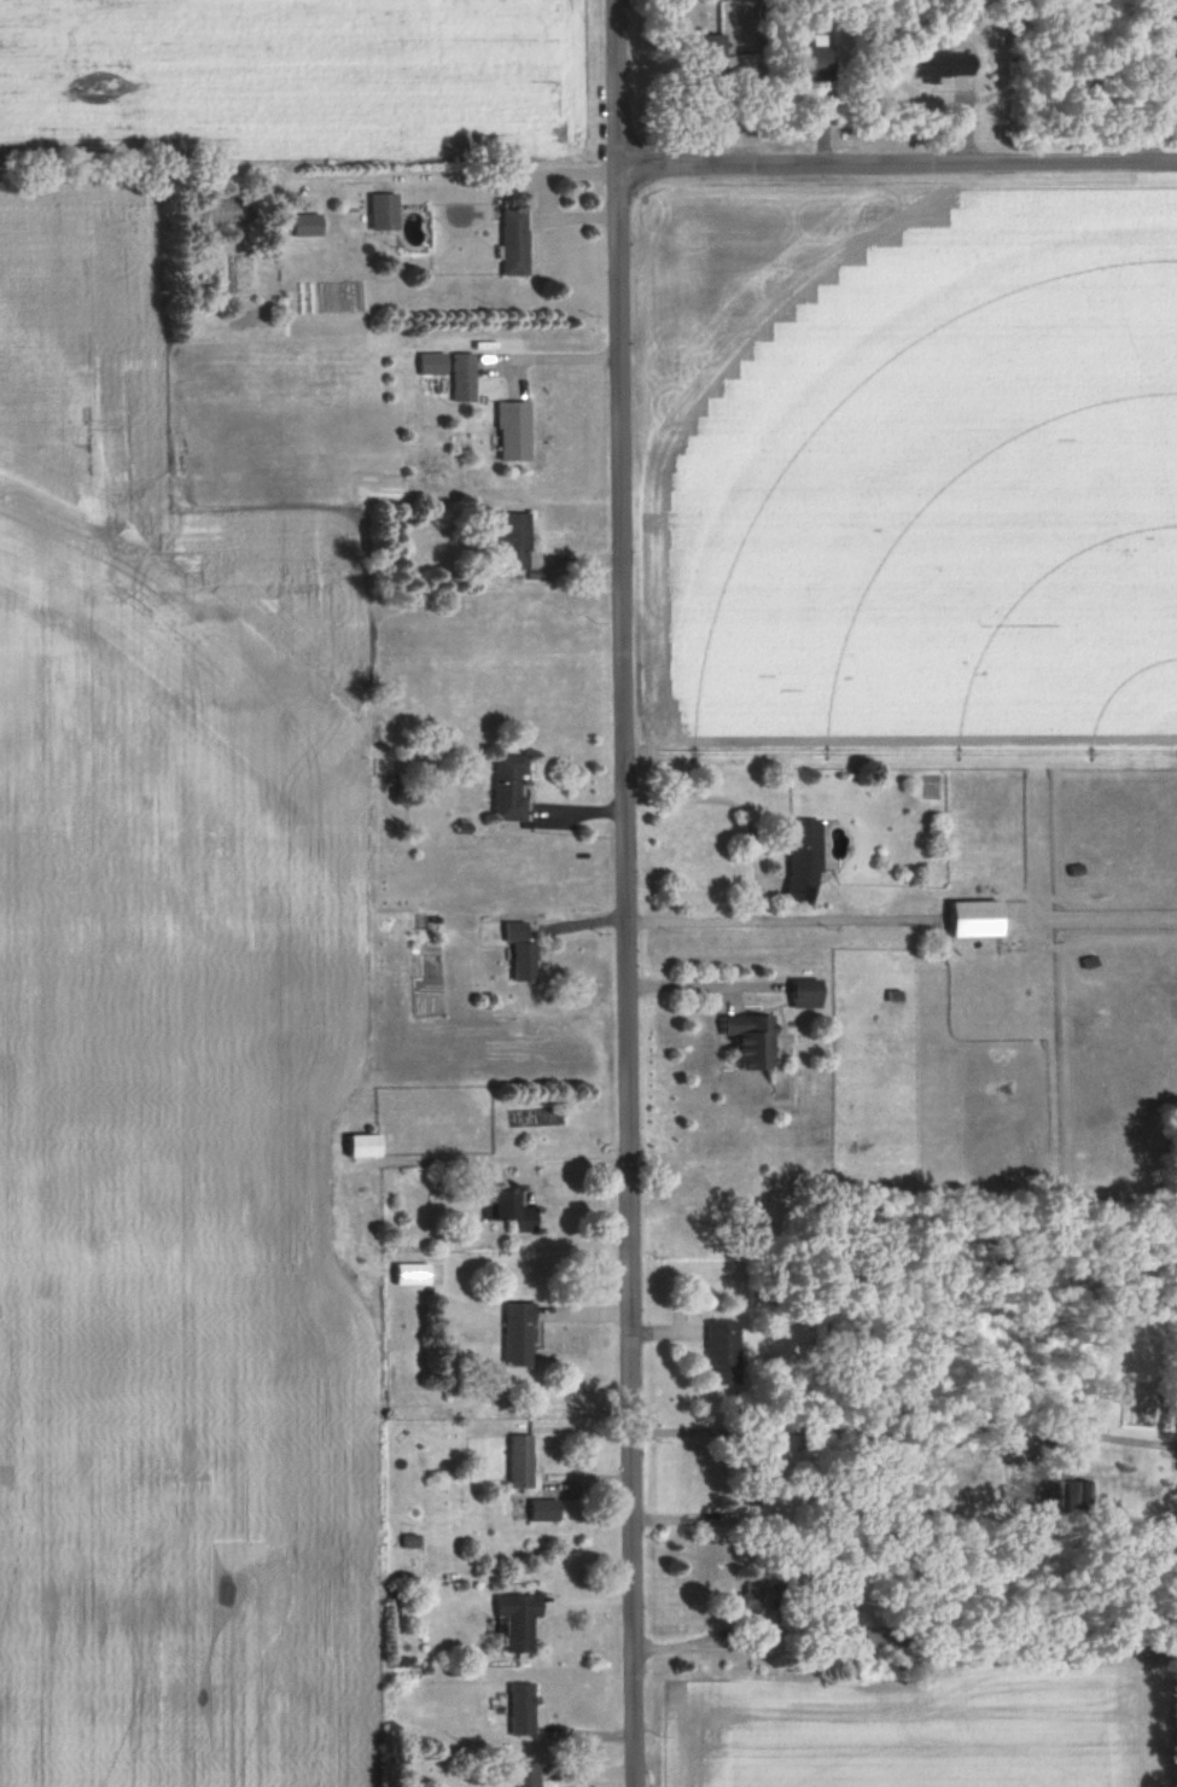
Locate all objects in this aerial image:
building: (1175, 29)
building: (711, 54)
building: (810, 64)
building: (943, 65)
road: (901, 168)
building: (384, 213)
building: (307, 226)
building: (514, 243)
road: (564, 361)
building: (432, 365)
building: (464, 377)
building: (513, 431)
building: (508, 543)
building: (509, 788)
road: (756, 861)
building: (803, 862)
road: (628, 892)
building: (977, 920)
building: (520, 953)
building: (806, 995)
building: (751, 1042)
building: (363, 1147)
building: (513, 1211)
building: (418, 1275)
building: (518, 1335)
building: (723, 1354)
building: (520, 1467)
building: (544, 1512)
road: (695, 1515)
building: (757, 1593)
building: (517, 1622)
building: (881, 1640)
road: (756, 1647)
building: (522, 1711)
crop: (919, 1737)
building: (525, 1776)

